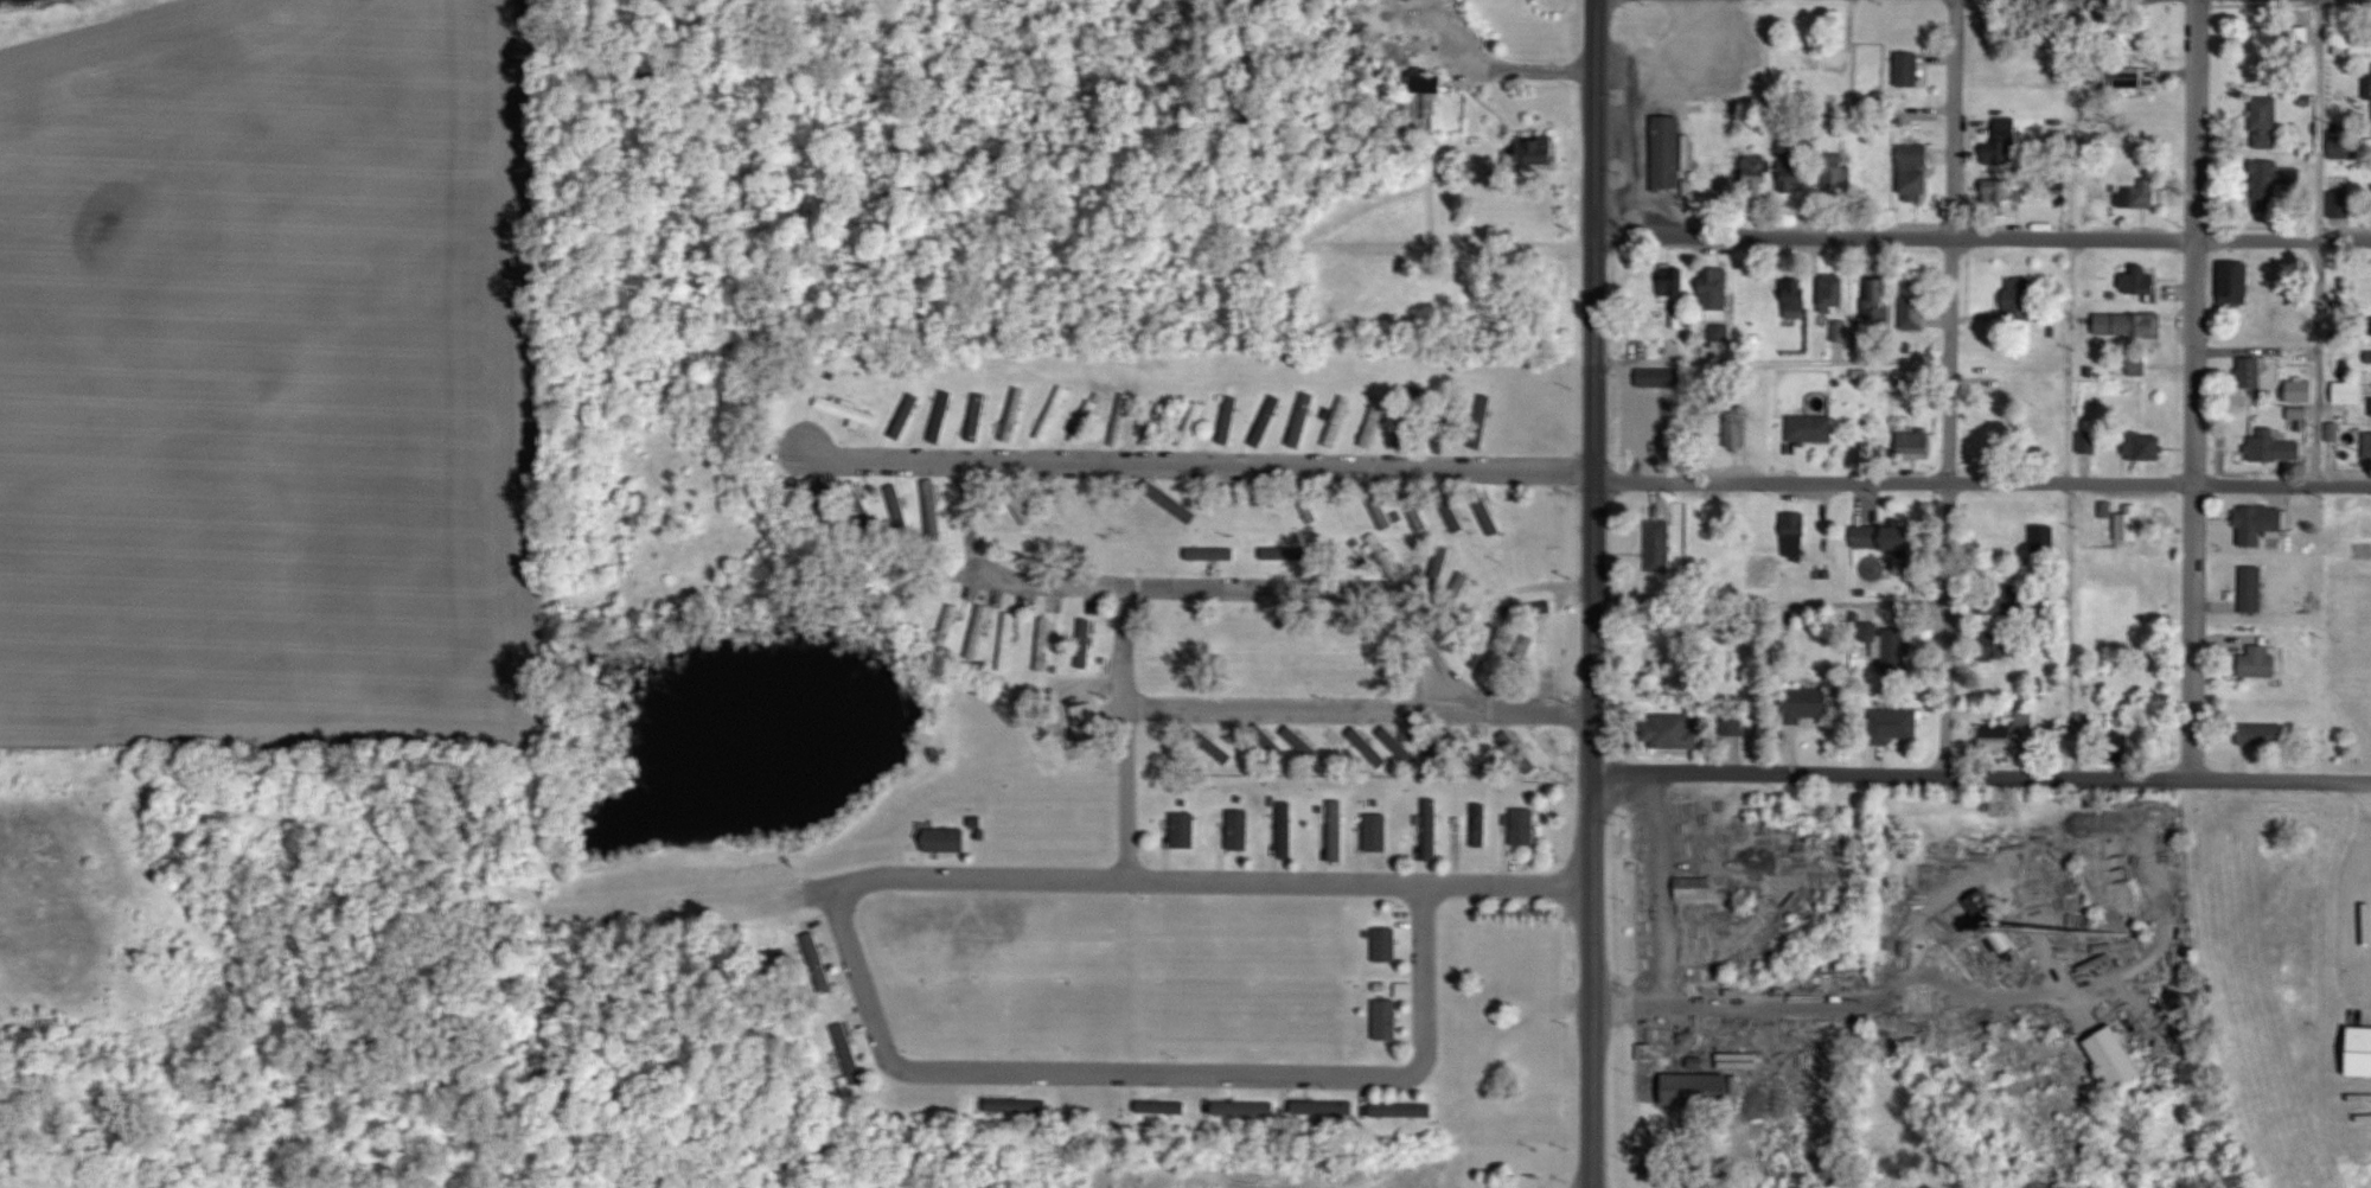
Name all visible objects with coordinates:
building: (1819, 64)
building: (1909, 69)
building: (2129, 77)
building: (1425, 98)
building: (2264, 122)
building: (2005, 141)
building: (2347, 143)
building: (1545, 149)
building: (1668, 149)
building: (1915, 159)
building: (1757, 171)
building: (2274, 183)
building: (2002, 190)
building: (2137, 193)
road: (1896, 234)
road: (2283, 238)
road: (2314, 241)
building: (1672, 279)
building: (2137, 279)
building: (2236, 287)
building: (1715, 293)
building: (1833, 293)
building: (1797, 298)
building: (2018, 299)
building: (1912, 304)
road: (2011, 314)
building: (2129, 324)
building: (1720, 332)
road: (1774, 364)
building: (2254, 372)
building: (1659, 376)
road: (1951, 387)
road: (2194, 387)
road: (2070, 388)
building: (2301, 390)
building: (2350, 391)
building: (849, 410)
building: (908, 413)
building: (1055, 413)
building: (1014, 414)
building: (940, 415)
building: (1302, 419)
building: (1121, 420)
building: (1267, 420)
building: (1338, 420)
building: (1481, 420)
building: (1086, 421)
building: (1157, 424)
building: (1193, 424)
building: (1373, 426)
building: (1410, 427)
building: (1738, 427)
building: (1811, 428)
building: (2089, 441)
building: (1915, 442)
building: (2367, 442)
building: (2146, 446)
building: (2279, 447)
road: (1178, 464)
road: (1894, 483)
road: (2282, 483)
building: (1055, 502)
building: (1020, 505)
building: (1091, 505)
building: (934, 509)
building: (1491, 509)
building: (1417, 510)
building: (1382, 512)
building: (2267, 518)
building: (2130, 526)
building: (1719, 528)
building: (1890, 536)
building: (1795, 537)
building: (1660, 543)
building: (1461, 580)
road: (1199, 585)
building: (2254, 588)
road: (1594, 594)
building: (1995, 603)
building: (1477, 608)
road: (1734, 608)
building: (950, 625)
building: (979, 632)
building: (1517, 633)
building: (1871, 638)
building: (1009, 640)
building: (1046, 644)
building: (1085, 645)
building: (2005, 646)
building: (2261, 660)
building: (1809, 703)
road: (1360, 707)
building: (1087, 724)
building: (1894, 724)
building: (1672, 729)
road: (1126, 730)
building: (2265, 733)
building: (1389, 736)
building: (1998, 739)
building: (1548, 749)
road: (1982, 774)
building: (1480, 824)
building: (1525, 826)
building: (1240, 829)
building: (1286, 829)
building: (1432, 829)
building: (1184, 830)
building: (1337, 830)
building: (1378, 831)
building: (946, 841)
road: (1200, 880)
building: (1695, 887)
road: (1656, 916)
building: (2007, 941)
building: (1386, 944)
building: (818, 962)
road: (1813, 1001)
building: (1387, 1018)
building: (2360, 1050)
building: (848, 1054)
building: (2116, 1056)
road: (1158, 1073)
building: (1699, 1088)
building: (1169, 1107)
building: (1245, 1109)
building: (1404, 1109)
building: (1324, 1111)

